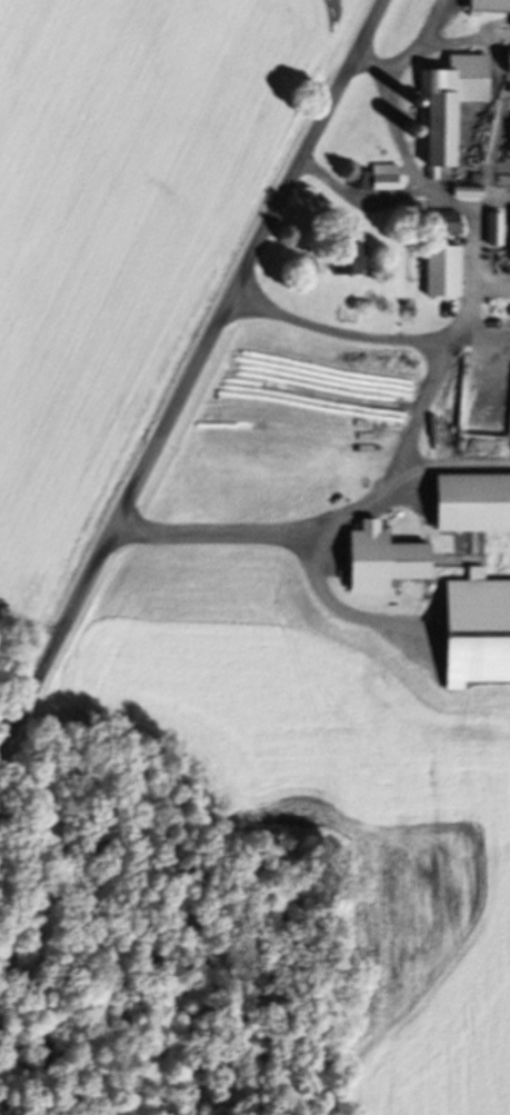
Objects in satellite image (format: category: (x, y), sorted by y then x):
building: (489, 7)
building: (507, 64)
building: (449, 109)
road: (392, 118)
building: (509, 142)
building: (374, 182)
road: (443, 200)
building: (443, 226)
building: (493, 232)
building: (348, 263)
building: (440, 275)
road: (190, 377)
road: (407, 444)
building: (470, 507)
building: (380, 565)

